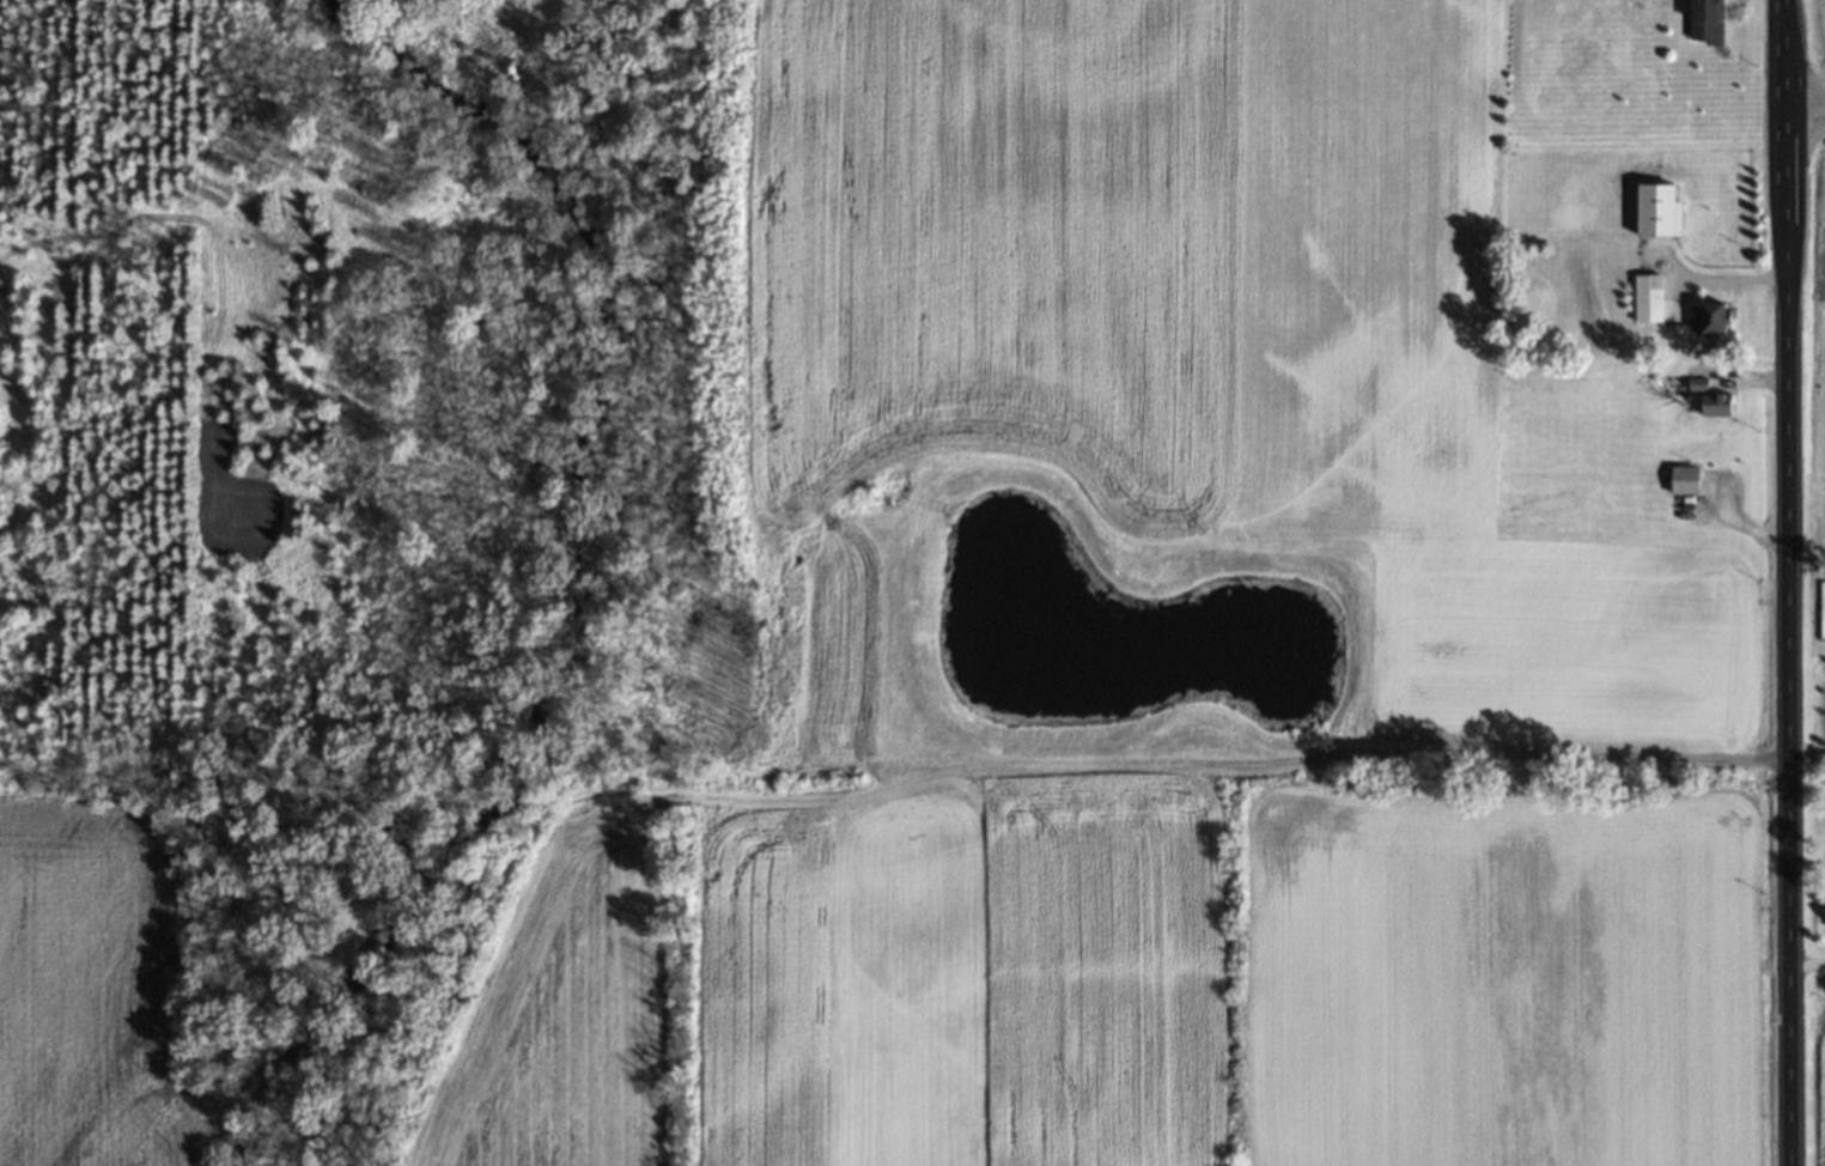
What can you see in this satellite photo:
building: (1707, 20)
road: (1805, 103)
building: (1659, 209)
building: (1649, 298)
building: (1714, 317)
building: (1717, 405)
building: (1684, 480)
road: (1788, 582)

